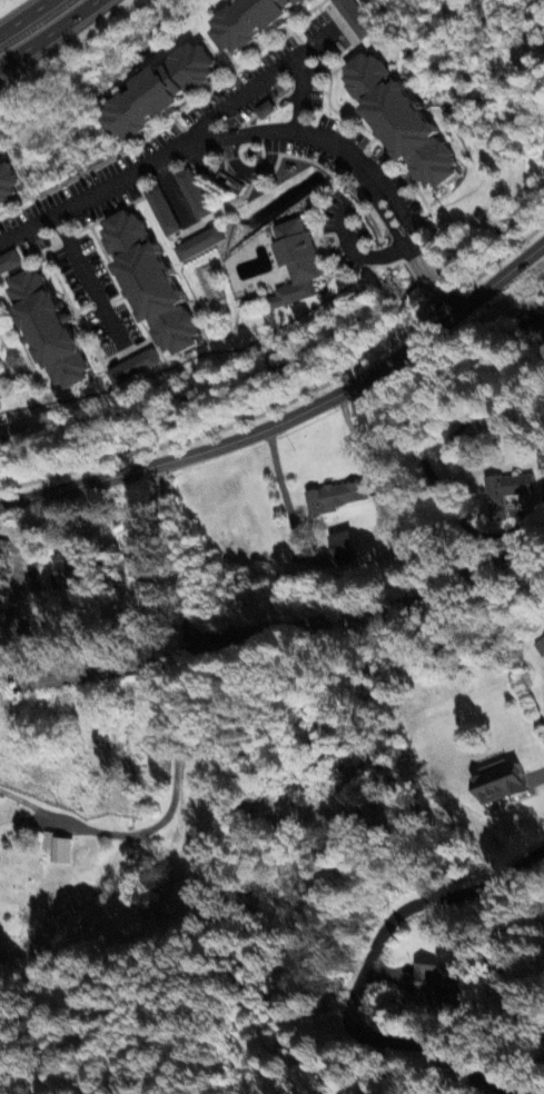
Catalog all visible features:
road: (23, 17)
building: (348, 20)
building: (246, 22)
road: (46, 31)
road: (259, 84)
building: (156, 92)
building: (264, 111)
building: (397, 121)
road: (191, 142)
building: (8, 186)
building: (192, 193)
building: (161, 210)
road: (392, 212)
road: (408, 242)
building: (199, 243)
road: (359, 251)
building: (9, 262)
building: (294, 262)
road: (428, 273)
road: (88, 277)
building: (147, 282)
road: (447, 304)
building: (44, 329)
building: (132, 366)
road: (293, 415)
road: (421, 454)
road: (364, 466)
building: (502, 493)
building: (332, 497)
road: (286, 503)
building: (339, 547)
building: (66, 569)
building: (31, 584)
railway: (278, 628)
building: (540, 646)
road: (180, 727)
building: (495, 785)
building: (56, 848)
building: (149, 907)
road: (358, 966)
building: (439, 981)
road: (488, 1091)

